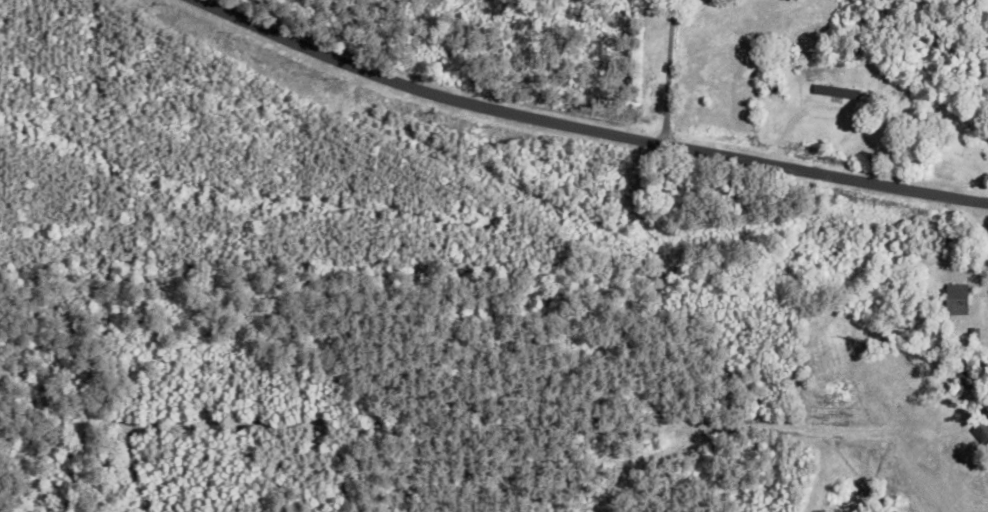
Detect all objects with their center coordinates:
building: (774, 91)
road: (747, 94)
road: (908, 118)
road: (579, 139)
building: (950, 300)

